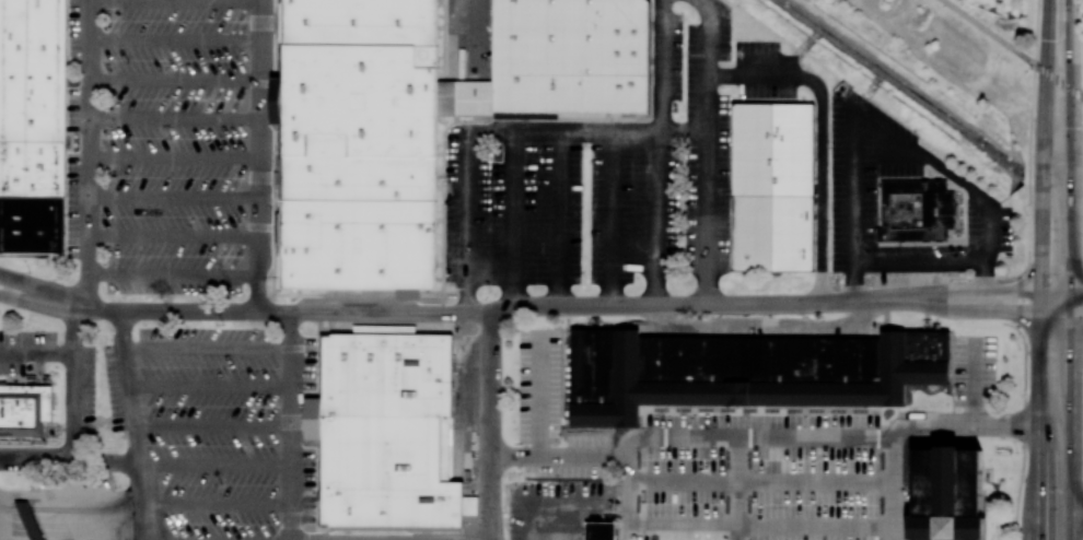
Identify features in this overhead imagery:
road: (174, 3)
road: (988, 32)
road: (1036, 32)
road: (473, 34)
road: (1049, 35)
road: (174, 40)
road: (1082, 44)
road: (663, 66)
road: (1040, 68)
traffic signals: (1047, 72)
road: (764, 78)
road: (174, 79)
road: (1064, 84)
river: (901, 85)
traffic signals: (1073, 92)
road: (174, 117)
building: (422, 119)
building: (31, 126)
road: (878, 127)
road: (498, 132)
parking lot: (170, 143)
road: (706, 152)
road: (89, 153)
road: (259, 155)
road: (174, 160)
parking lot: (613, 171)
building: (771, 186)
parking lot: (853, 187)
river: (1052, 193)
road: (820, 196)
road: (1028, 197)
road: (174, 198)
building: (916, 211)
road: (558, 219)
road: (613, 219)
road: (655, 219)
road: (512, 220)
road: (174, 238)
road: (919, 262)
road: (1074, 269)
road: (174, 275)
road: (37, 290)
road: (1079, 291)
road: (971, 293)
road: (36, 302)
road: (679, 305)
road: (1038, 305)
road: (282, 310)
road: (971, 310)
road: (1079, 313)
road: (1010, 325)
road: (208, 349)
road: (58, 353)
building: (746, 369)
road: (211, 387)
road: (538, 396)
road: (67, 407)
building: (24, 410)
road: (137, 424)
road: (290, 425)
road: (492, 425)
road: (213, 426)
building: (386, 432)
parking lot: (218, 433)
road: (1023, 433)
road: (762, 437)
road: (69, 460)
road: (214, 466)
parking lot: (718, 467)
road: (759, 483)
road: (737, 488)
road: (892, 489)
building: (946, 493)
road: (69, 496)
road: (214, 503)
road: (68, 508)
road: (1079, 514)
road: (68, 516)
building: (30, 520)
road: (68, 525)
road: (718, 527)
building: (599, 530)
road: (68, 533)
road: (4, 536)

